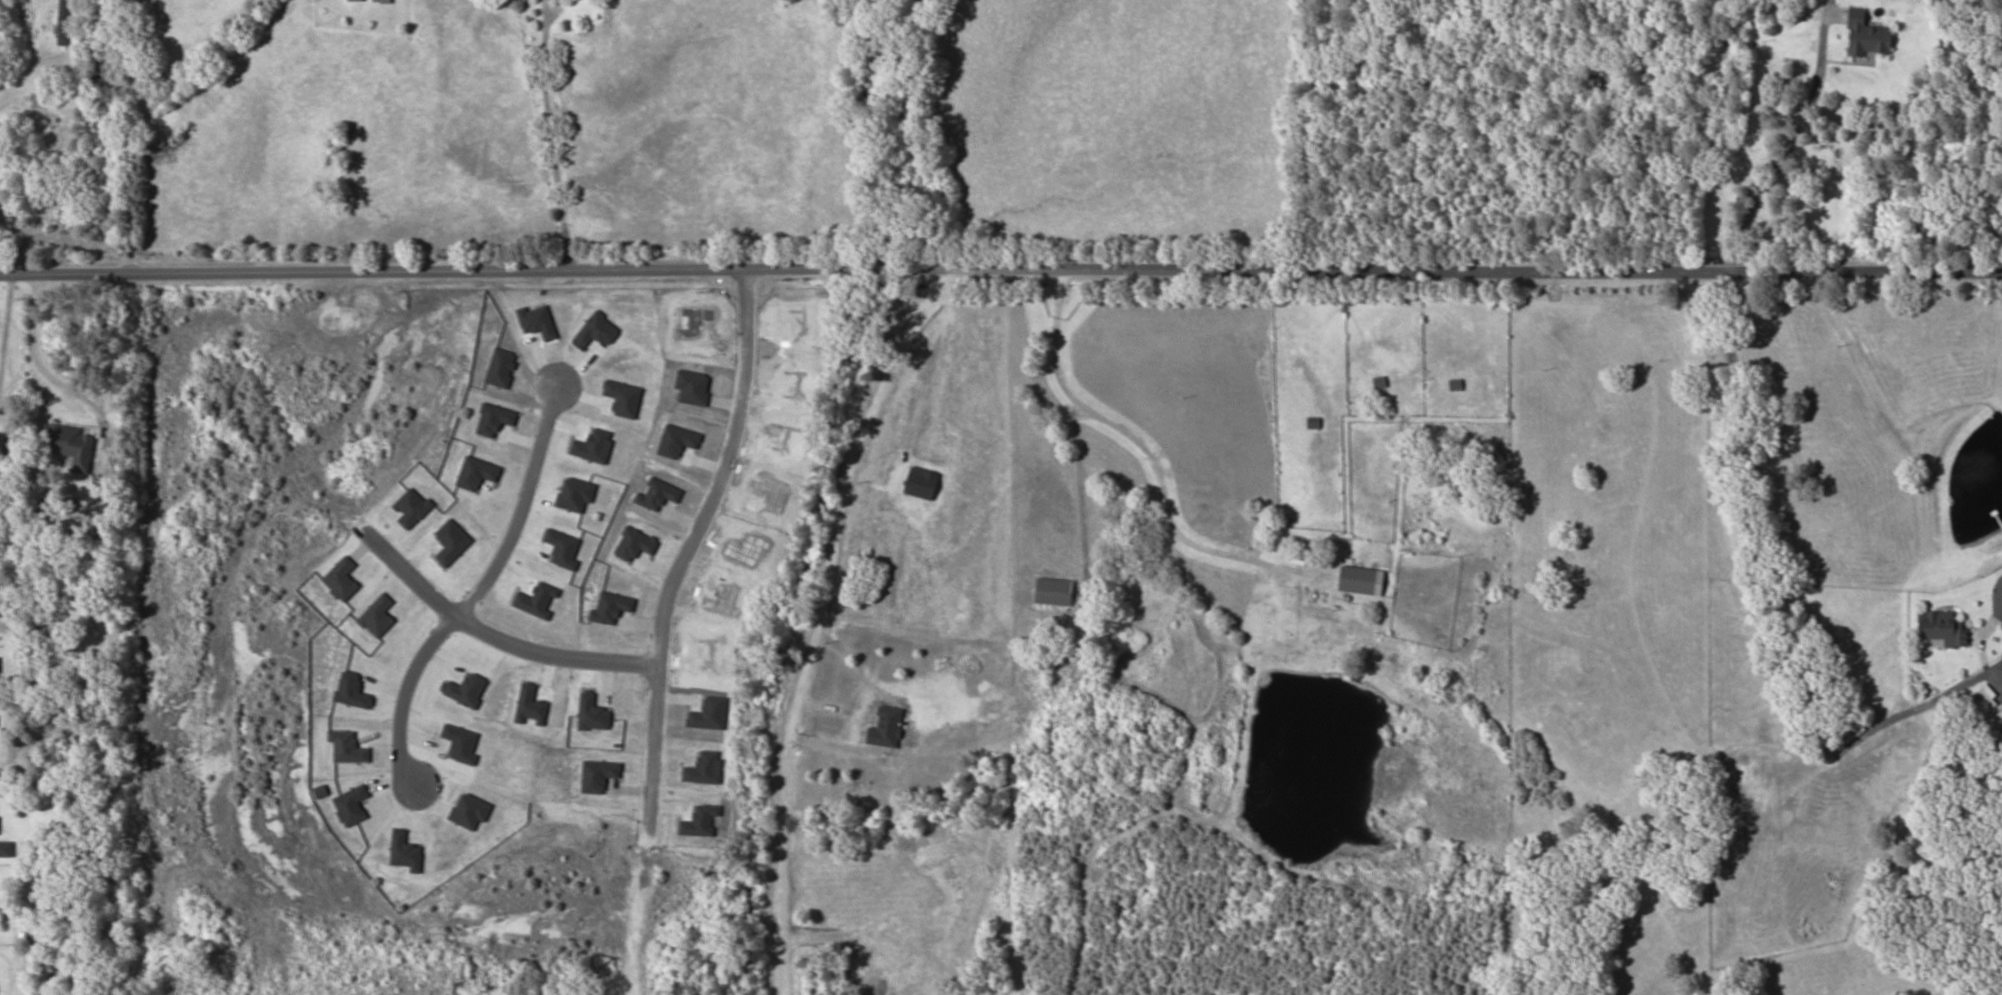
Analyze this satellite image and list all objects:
building: (567, 0)
building: (374, 1)
building: (65, 23)
building: (1869, 36)
road: (984, 133)
road: (1001, 269)
building: (1381, 383)
building: (75, 446)
road: (688, 541)
building: (1363, 581)
road: (477, 584)
building: (1056, 592)
road: (491, 626)
building: (1944, 628)
building: (0, 665)
building: (1988, 698)
building: (1845, 741)
building: (0, 826)

